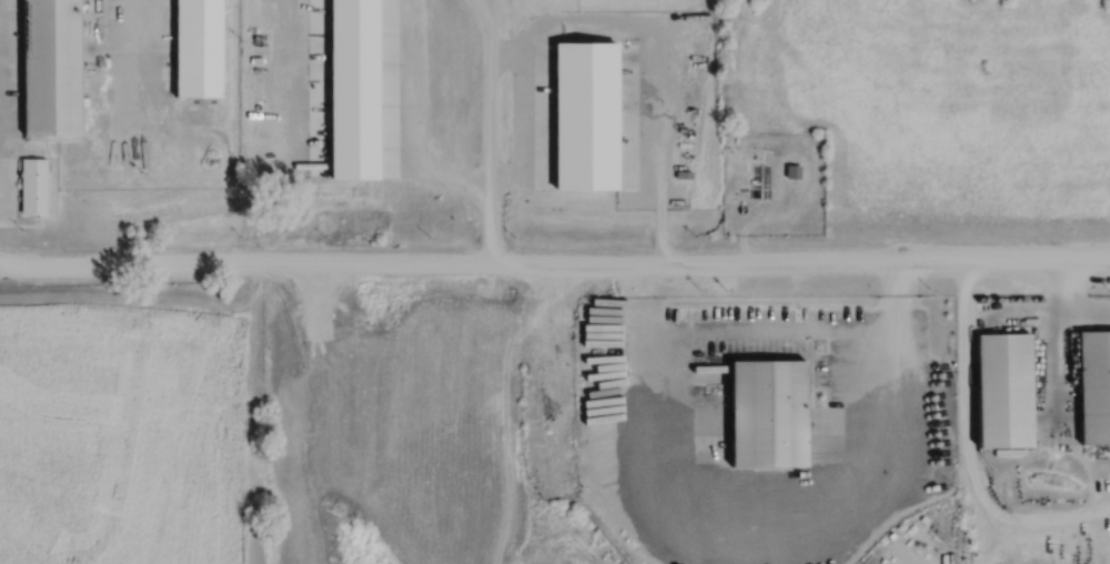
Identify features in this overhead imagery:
road: (620, 17)
building: (198, 48)
building: (51, 67)
road: (492, 93)
building: (794, 172)
road: (450, 179)
building: (759, 182)
building: (33, 185)
road: (555, 264)
road: (1074, 301)
road: (1051, 342)
road: (774, 343)
building: (1094, 386)
building: (768, 413)
road: (966, 447)

